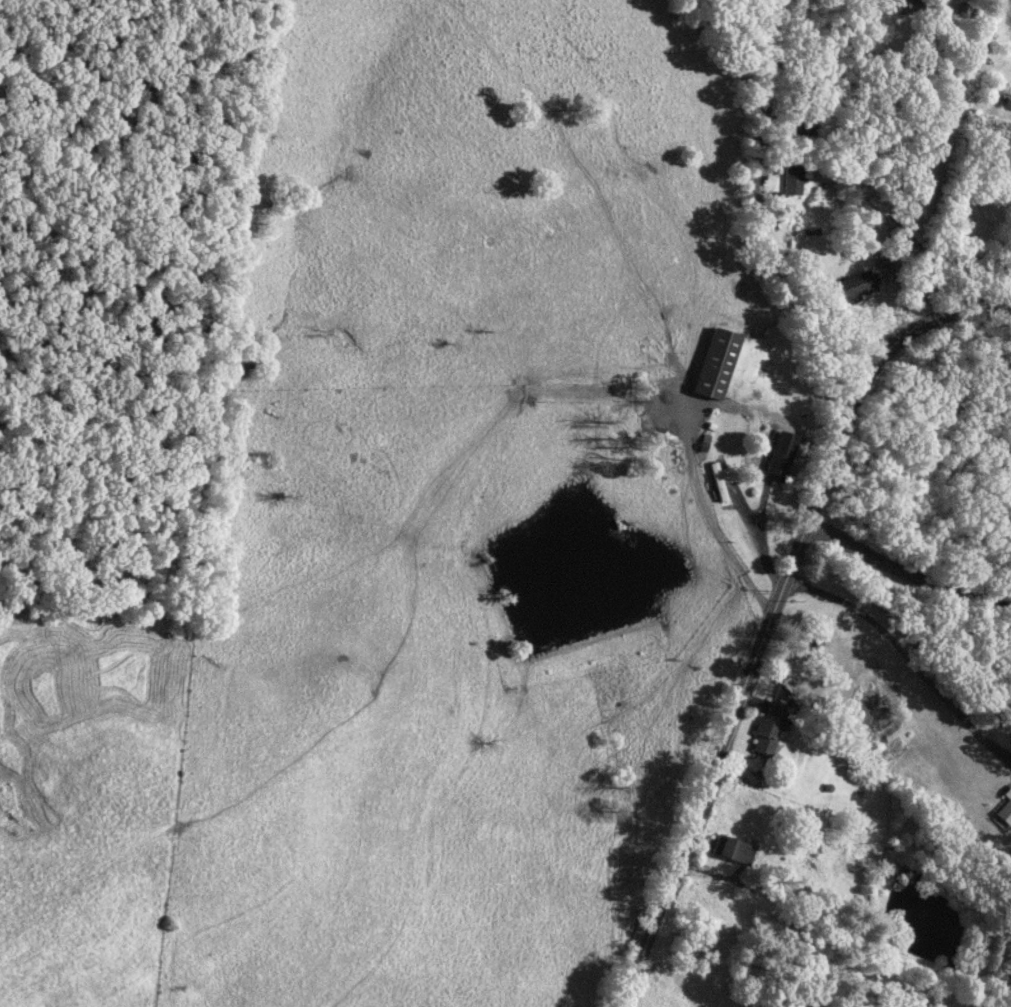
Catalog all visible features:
road: (1009, 9)
building: (793, 179)
road: (755, 224)
building: (858, 284)
building: (717, 362)
building: (782, 453)
building: (719, 480)
road: (904, 572)
road: (772, 610)
building: (772, 727)
building: (735, 847)

